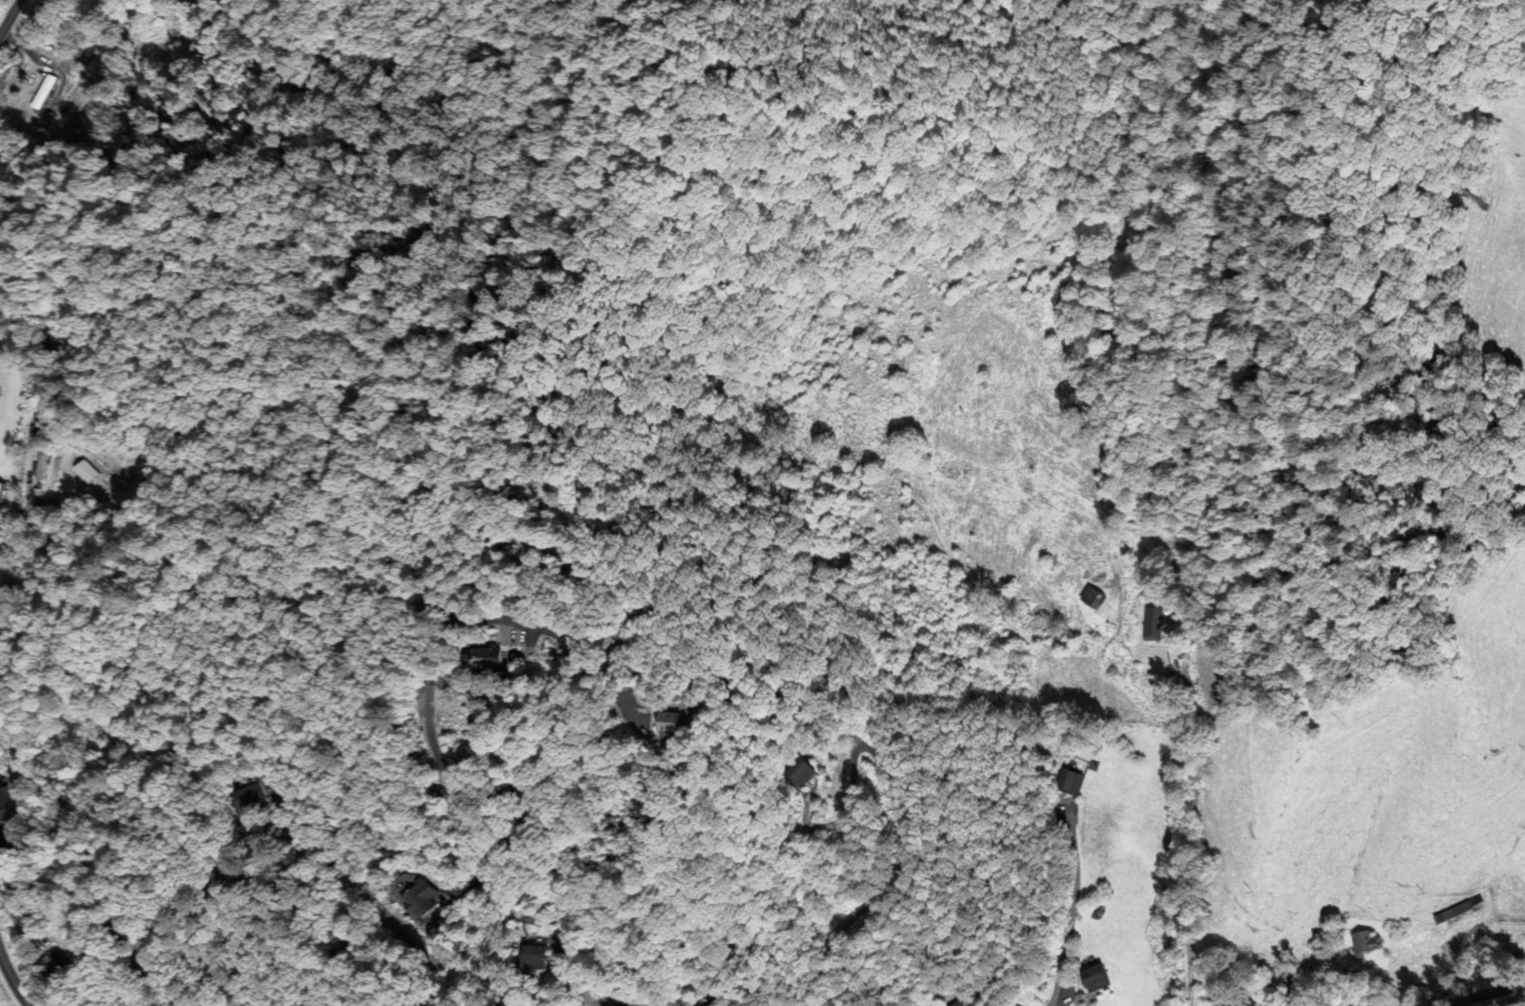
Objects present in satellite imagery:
road: (10, 17)
building: (39, 90)
road: (430, 117)
building: (2, 489)
building: (1094, 596)
road: (499, 617)
building: (1149, 624)
building: (506, 662)
building: (45, 781)
building: (253, 796)
building: (7, 807)
road: (1188, 834)
road: (356, 889)
building: (418, 897)
road: (1070, 913)
building: (1364, 942)
building: (53, 961)
building: (1100, 978)
road: (12, 981)
road: (577, 981)
road: (1483, 995)
building: (971, 1003)

